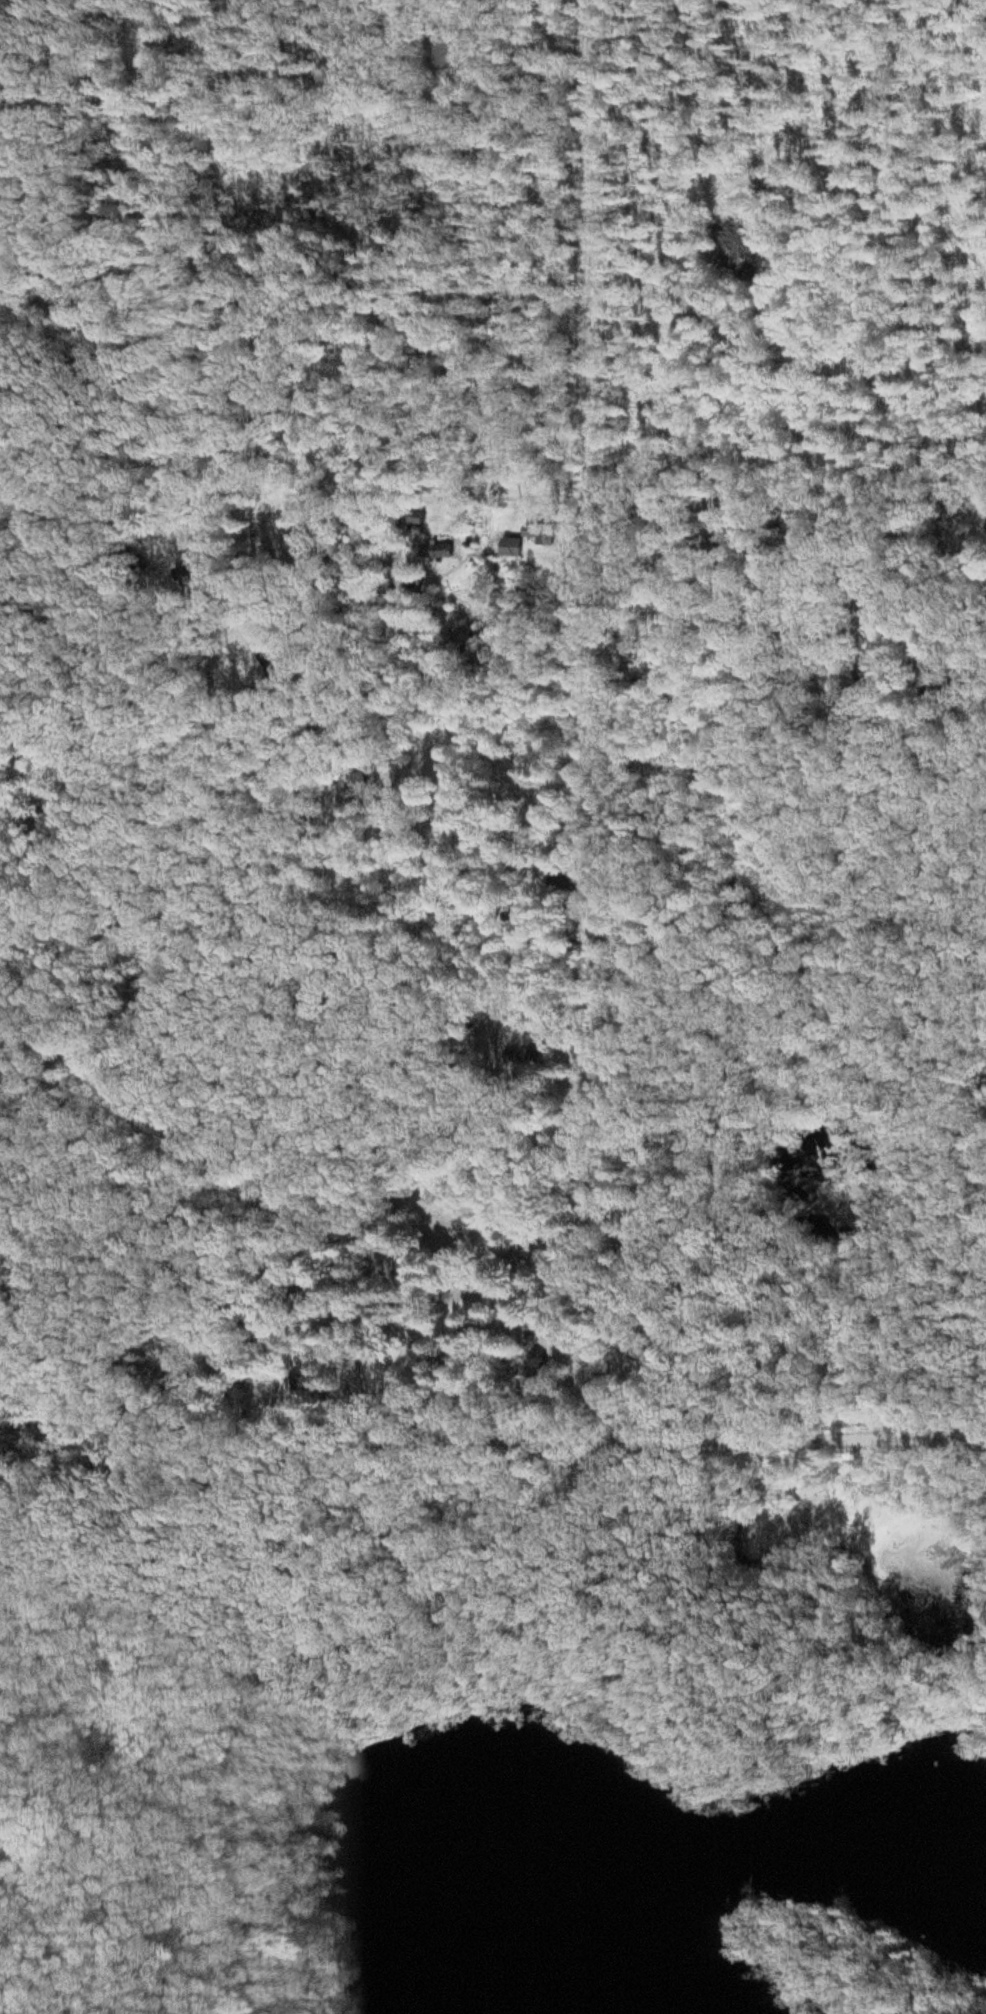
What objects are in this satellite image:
road: (383, 32)
road: (214, 54)
road: (506, 177)
road: (382, 320)
road: (590, 420)
road: (542, 442)
road: (507, 862)
road: (606, 955)
road: (605, 1265)
building: (423, 1271)
building: (650, 1354)
road: (813, 1442)
road: (431, 1445)
road: (311, 1675)

